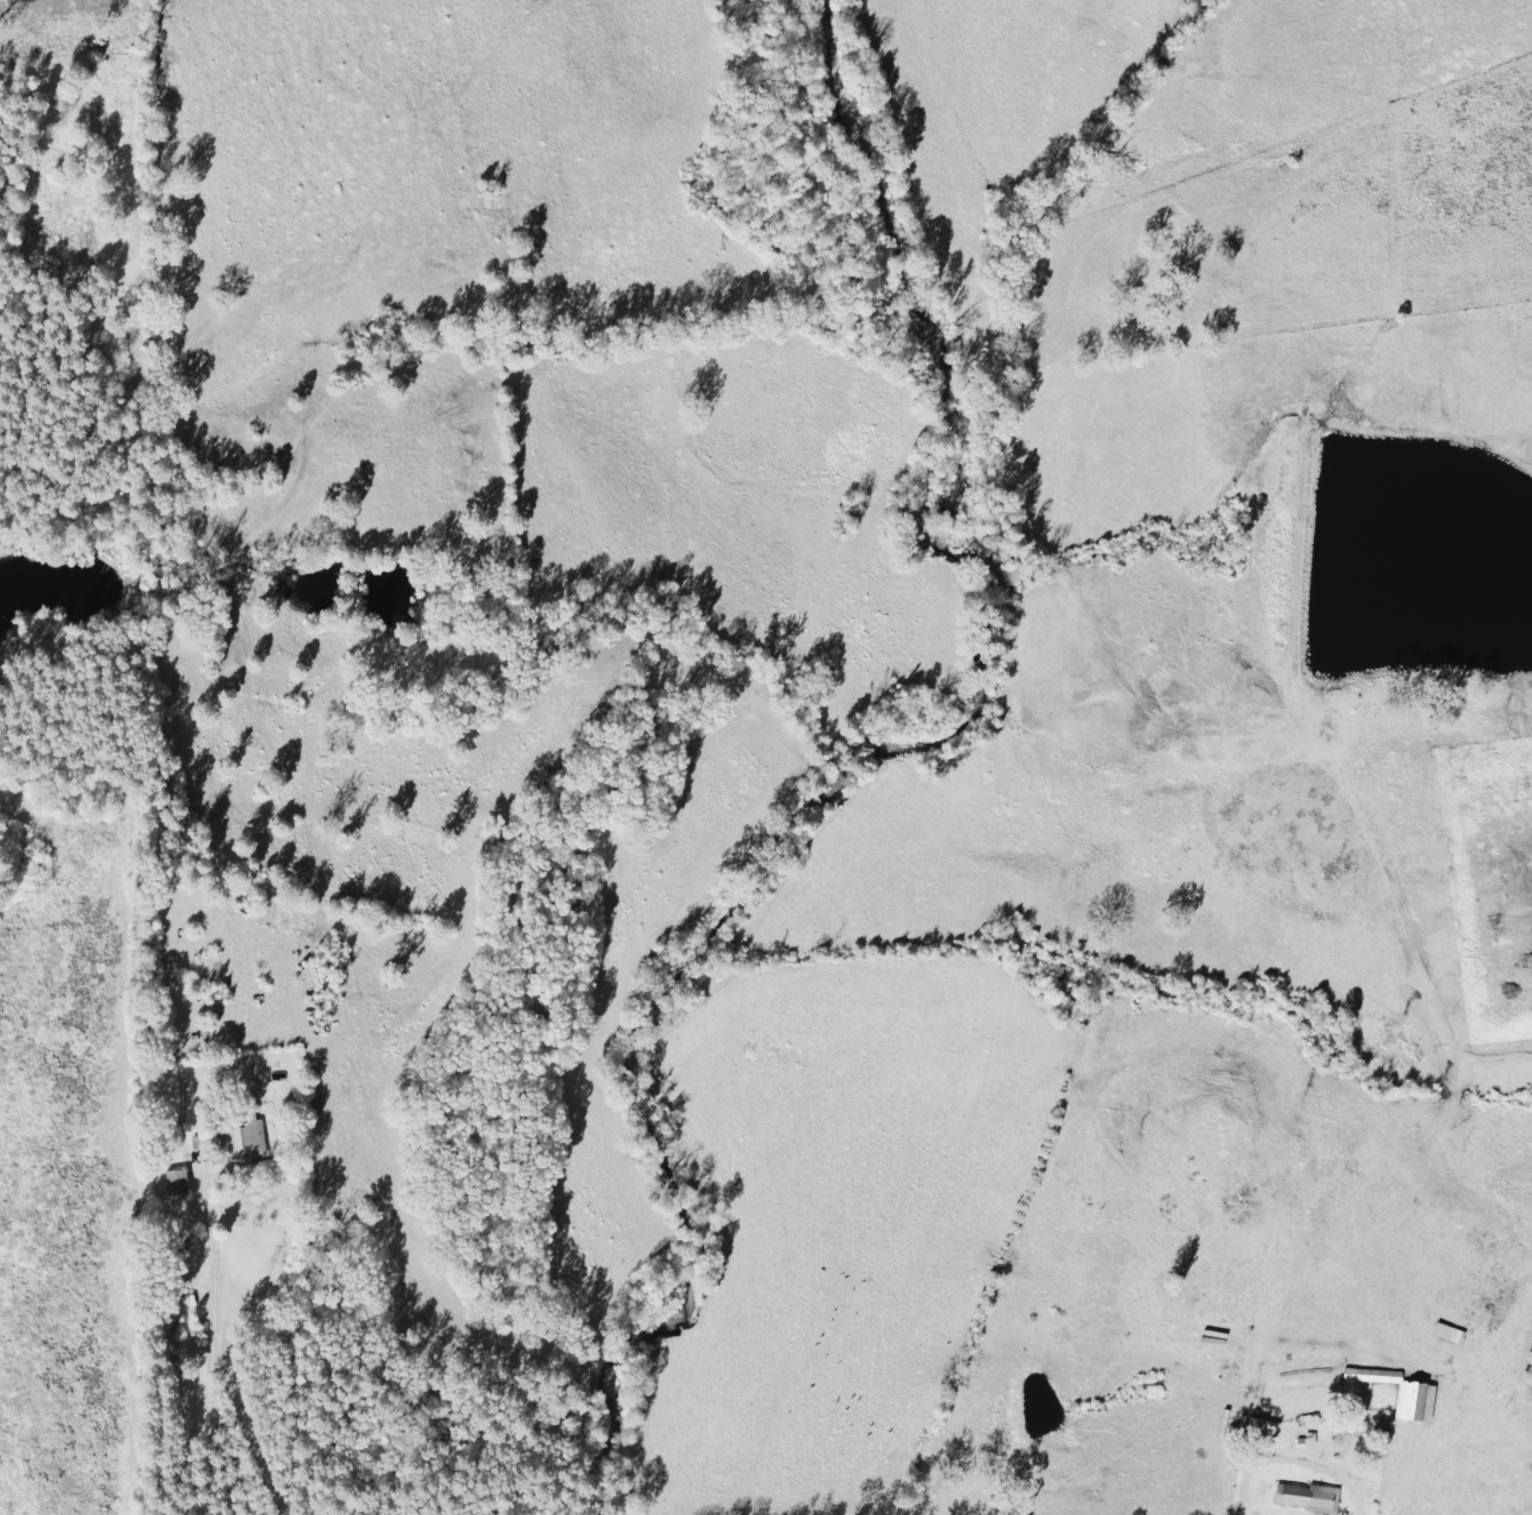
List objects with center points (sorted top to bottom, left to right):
building: (250, 1140)
building: (179, 1184)
road: (200, 1348)
building: (1404, 1394)
building: (1265, 1429)
building: (1311, 1499)

